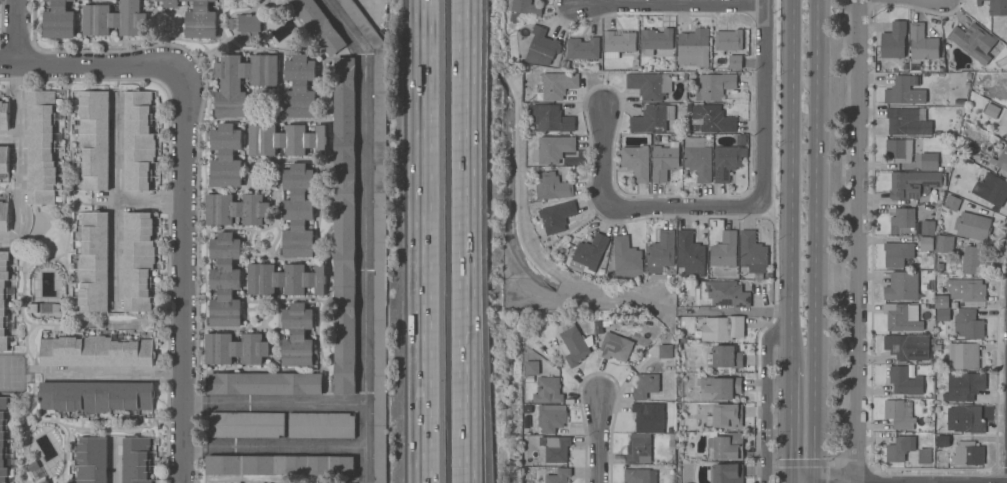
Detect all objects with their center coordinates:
road: (672, 5)
building: (995, 7)
building: (522, 9)
building: (114, 19)
building: (197, 19)
building: (59, 20)
building: (319, 25)
building: (249, 27)
road: (343, 27)
road: (18, 32)
building: (656, 39)
building: (728, 40)
building: (893, 41)
building: (973, 42)
building: (618, 44)
building: (378, 46)
building: (694, 47)
building: (920, 47)
building: (542, 48)
building: (583, 48)
building: (735, 63)
road: (92, 65)
building: (555, 85)
building: (649, 85)
building: (714, 85)
building: (300, 87)
building: (231, 88)
building: (904, 92)
road: (765, 101)
building: (992, 111)
building: (4, 115)
building: (553, 118)
building: (652, 118)
building: (712, 119)
building: (908, 121)
building: (1002, 122)
building: (1006, 137)
road: (11, 140)
building: (94, 140)
building: (138, 140)
building: (286, 140)
building: (41, 147)
building: (553, 149)
building: (899, 150)
road: (23, 153)
building: (226, 156)
road: (603, 156)
building: (698, 158)
building: (4, 160)
building: (664, 160)
building: (929, 161)
building: (636, 162)
building: (726, 162)
building: (1002, 162)
building: (380, 167)
building: (344, 170)
road: (793, 183)
building: (914, 184)
building: (552, 186)
building: (990, 188)
road: (119, 201)
road: (141, 203)
building: (952, 203)
road: (683, 208)
building: (235, 209)
building: (298, 211)
building: (3, 216)
building: (557, 216)
building: (909, 223)
building: (972, 226)
road: (424, 241)
road: (464, 241)
road: (469, 241)
road: (860, 241)
road: (11, 242)
road: (819, 242)
building: (926, 243)
building: (944, 244)
building: (725, 250)
building: (661, 252)
building: (752, 252)
building: (897, 253)
building: (588, 254)
building: (690, 254)
building: (626, 258)
building: (94, 261)
building: (138, 261)
building: (969, 261)
road: (364, 268)
road: (185, 274)
building: (285, 279)
building: (225, 280)
building: (379, 281)
building: (902, 286)
building: (967, 289)
building: (718, 293)
building: (4, 298)
building: (941, 301)
building: (942, 314)
building: (902, 317)
building: (968, 324)
building: (722, 328)
building: (297, 336)
building: (344, 341)
building: (574, 345)
building: (380, 347)
building: (616, 347)
building: (907, 347)
building: (937, 347)
building: (234, 348)
building: (97, 351)
building: (665, 351)
building: (963, 355)
building: (724, 357)
building: (532, 368)
road: (111, 374)
building: (905, 380)
building: (264, 384)
building: (646, 385)
building: (964, 386)
building: (721, 389)
building: (547, 391)
building: (96, 396)
road: (767, 399)
building: (380, 400)
road: (275, 403)
building: (898, 413)
building: (725, 416)
building: (550, 417)
building: (649, 417)
building: (968, 419)
building: (245, 424)
building: (321, 425)
building: (526, 425)
road: (792, 425)
building: (3, 440)
road: (599, 440)
building: (943, 441)
building: (726, 445)
road: (275, 447)
building: (637, 447)
building: (555, 448)
building: (900, 448)
building: (380, 453)
building: (968, 453)
building: (924, 456)
building: (941, 456)
building: (92, 460)
building: (136, 460)
road: (117, 462)
building: (278, 464)
building: (726, 473)
building: (559, 476)
building: (639, 476)
building: (338, 482)

